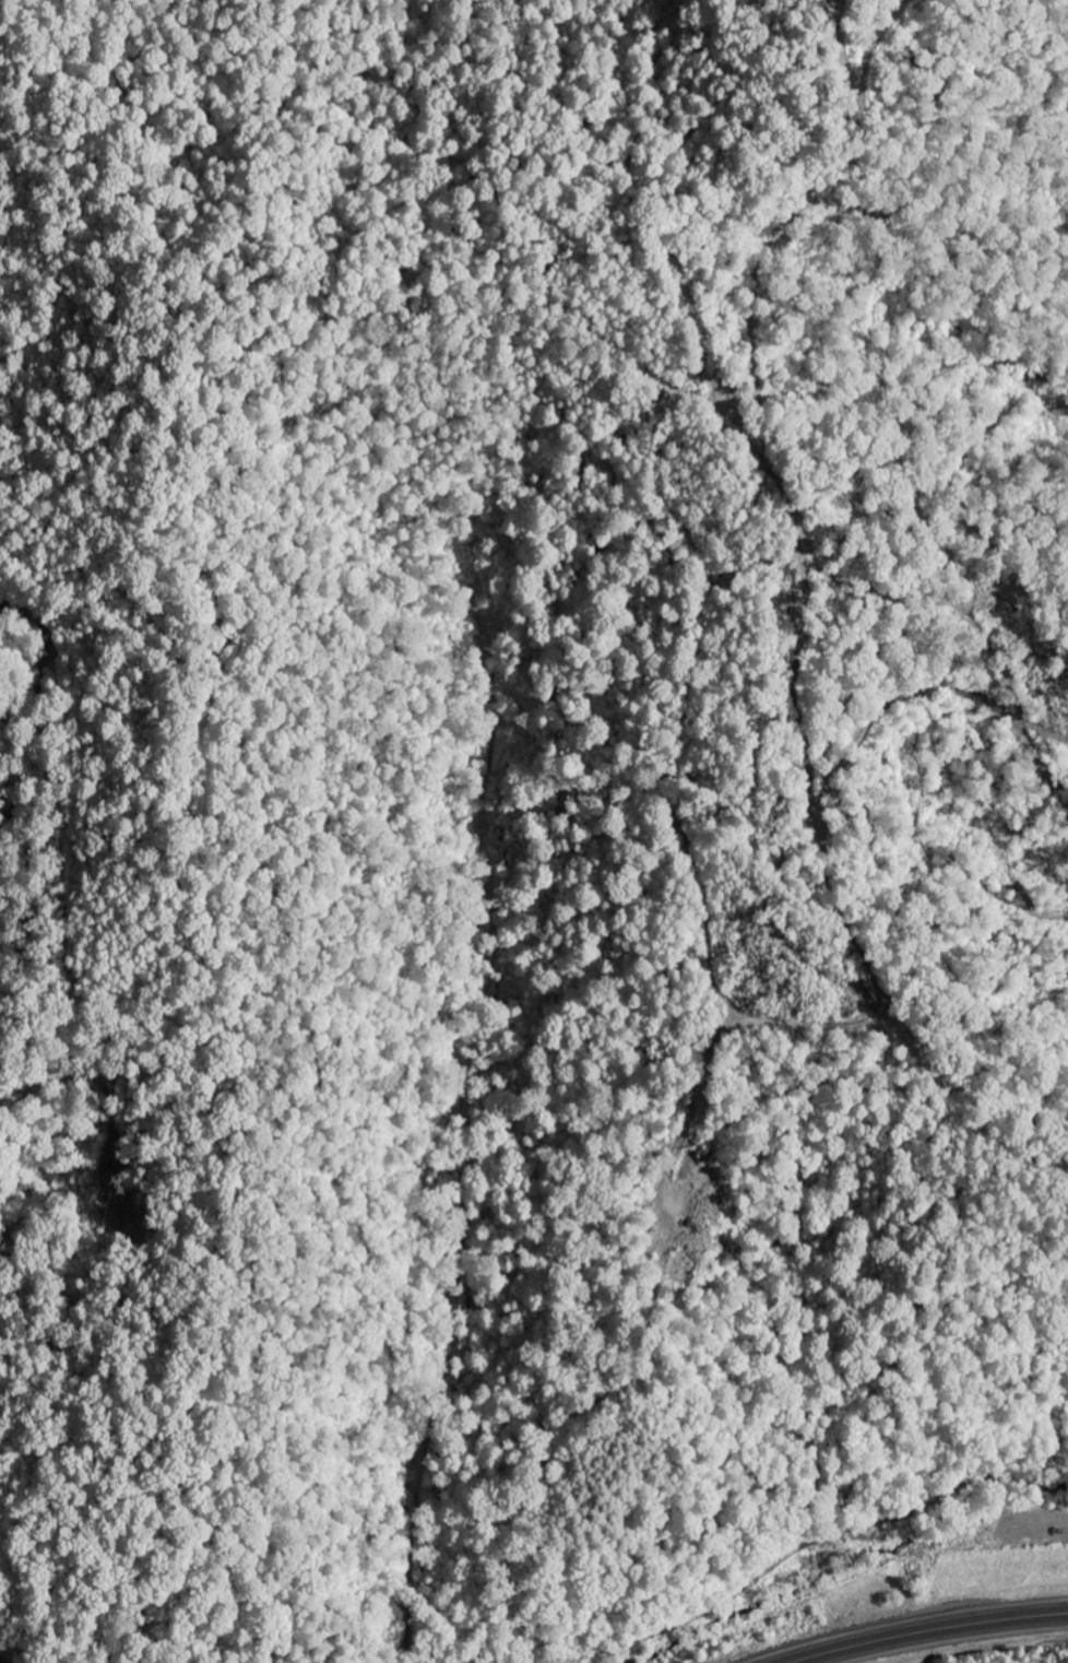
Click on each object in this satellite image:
road: (925, 1630)

